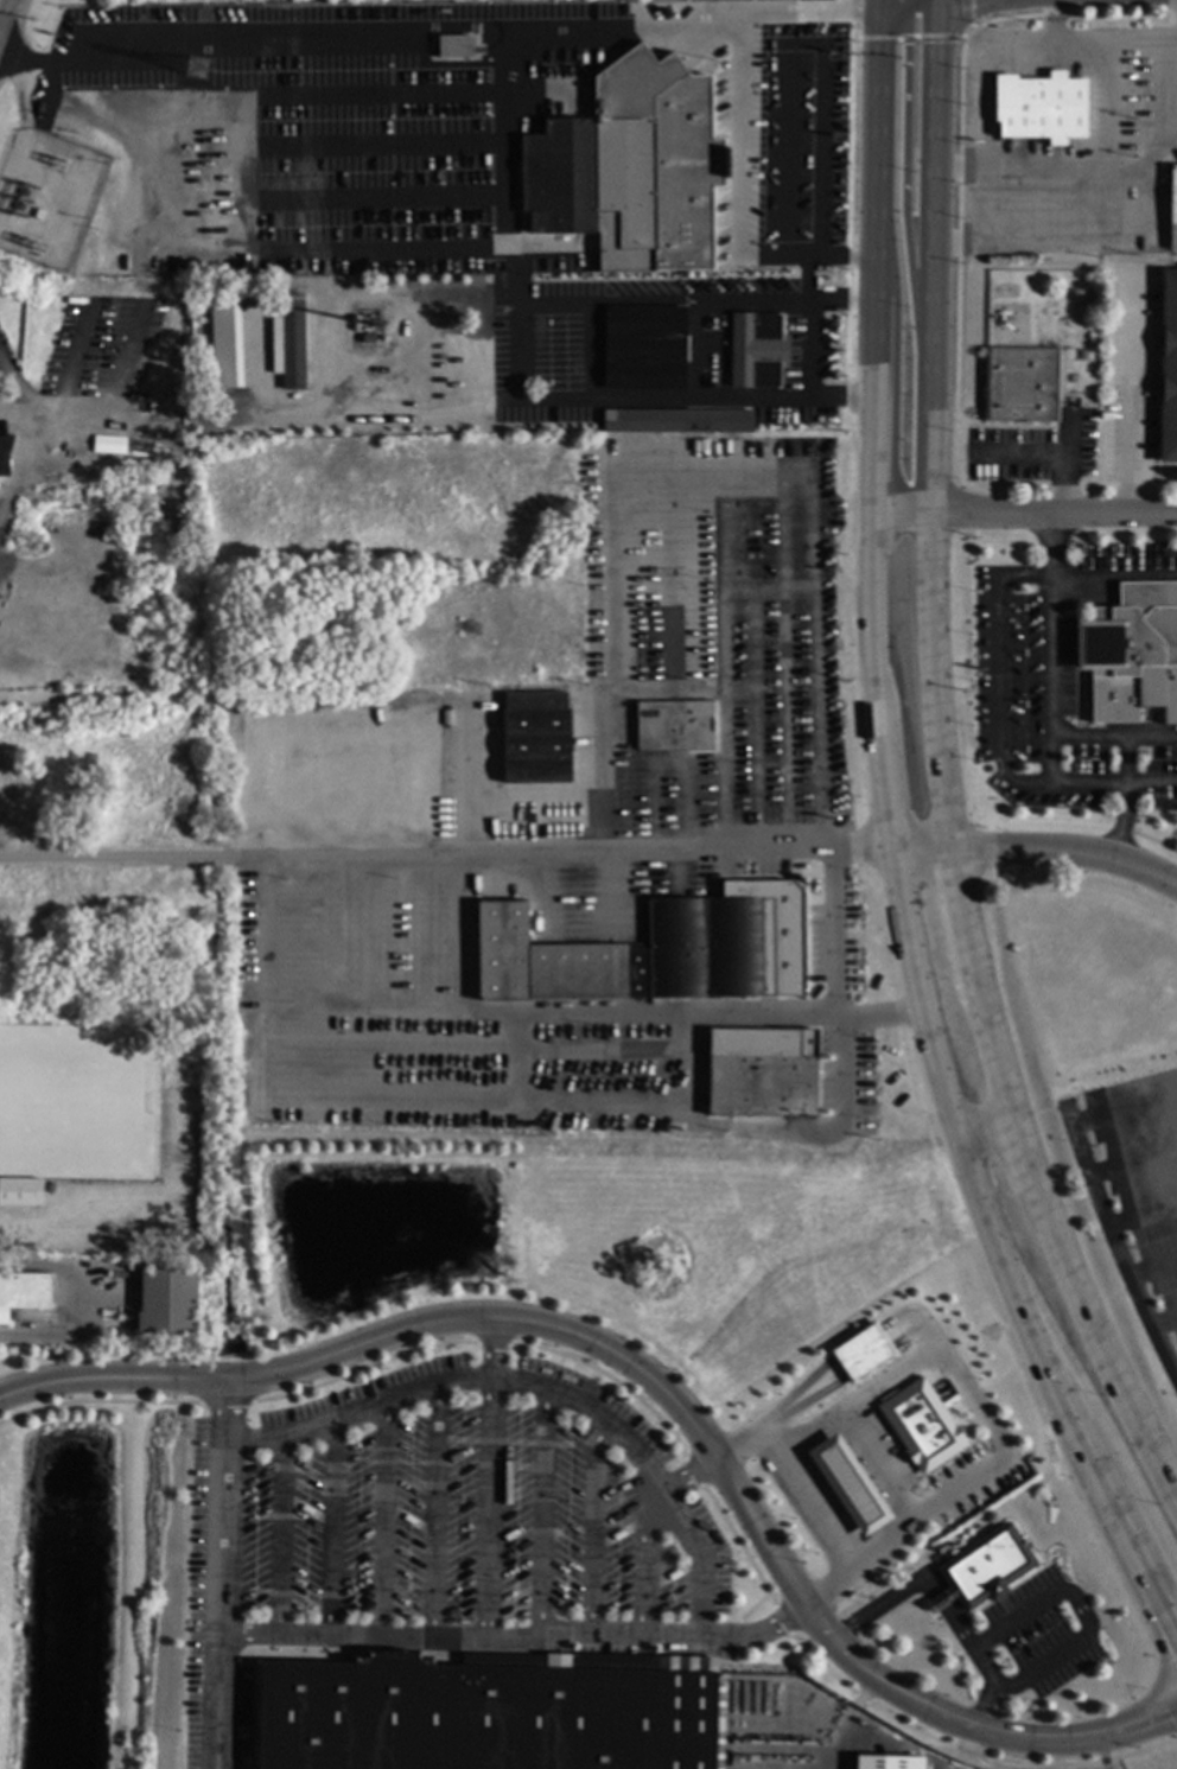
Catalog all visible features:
road: (874, 1)
road: (890, 1)
road: (810, 5)
road: (842, 7)
road: (5, 9)
road: (1, 18)
road: (1, 21)
road: (403, 25)
building: (453, 45)
road: (1115, 53)
power tower: (198, 70)
road: (784, 70)
building: (1039, 107)
road: (737, 131)
road: (1169, 134)
building: (630, 166)
road: (1023, 166)
road: (1137, 166)
road: (904, 179)
power substation: (47, 199)
building: (1173, 208)
building: (38, 212)
road: (1082, 236)
road: (389, 249)
building: (1076, 289)
building: (365, 337)
building: (288, 339)
building: (224, 342)
road: (77, 344)
building: (643, 346)
building: (756, 349)
road: (705, 350)
road: (4, 368)
building: (1168, 368)
road: (113, 383)
building: (1020, 384)
road: (1130, 393)
building: (1093, 401)
building: (676, 420)
building: (211, 432)
road: (40, 434)
road: (1062, 453)
building: (5, 454)
road: (755, 465)
road: (1022, 513)
power tower: (34, 543)
road: (1087, 578)
road: (1051, 649)
building: (1131, 656)
road: (998, 681)
building: (673, 724)
building: (535, 737)
road: (1114, 738)
road: (667, 763)
road: (936, 778)
road: (465, 783)
road: (1090, 787)
road: (518, 808)
road: (1121, 826)
road: (1149, 840)
road: (889, 847)
road: (1036, 853)
road: (572, 857)
road: (127, 860)
building: (648, 952)
road: (511, 1010)
road: (509, 1049)
building: (761, 1084)
road: (581, 1107)
road: (982, 1132)
building: (19, 1190)
parking lot: (1134, 1195)
road: (1102, 1204)
building: (23, 1291)
road: (83, 1298)
building: (166, 1299)
building: (861, 1351)
road: (660, 1386)
road: (1092, 1401)
road: (968, 1405)
road: (358, 1408)
gas station: (922, 1425)
building: (921, 1426)
road: (613, 1433)
road: (878, 1466)
building: (850, 1485)
road: (809, 1504)
road: (490, 1509)
road: (431, 1513)
road: (545, 1516)
road: (380, 1519)
road: (592, 1523)
road: (329, 1528)
road: (279, 1536)
parking lot: (438, 1540)
road: (643, 1552)
building: (986, 1564)
road: (929, 1584)
road: (222, 1606)
road: (1080, 1609)
road: (702, 1615)
road: (463, 1637)
road: (984, 1710)
building: (478, 1718)
building: (887, 1762)

